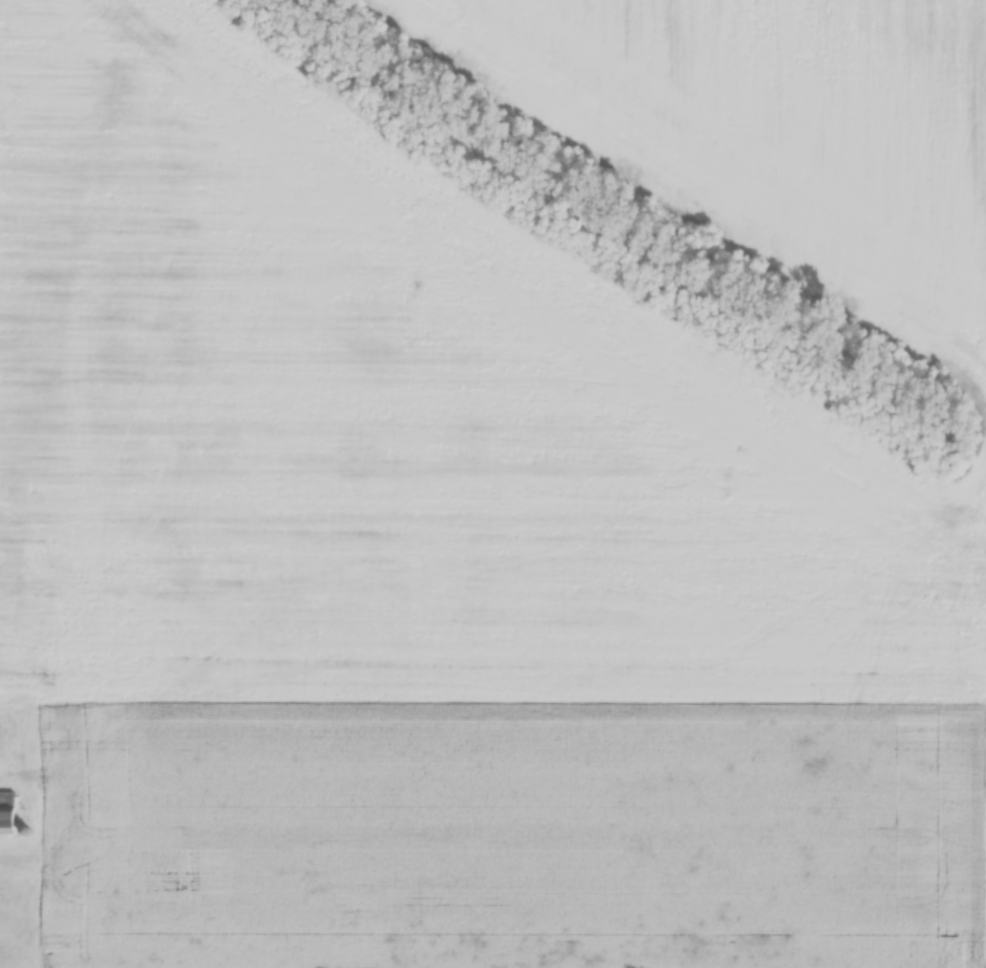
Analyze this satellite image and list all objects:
building: (4, 810)
building: (25, 830)
silo: (25, 830)

